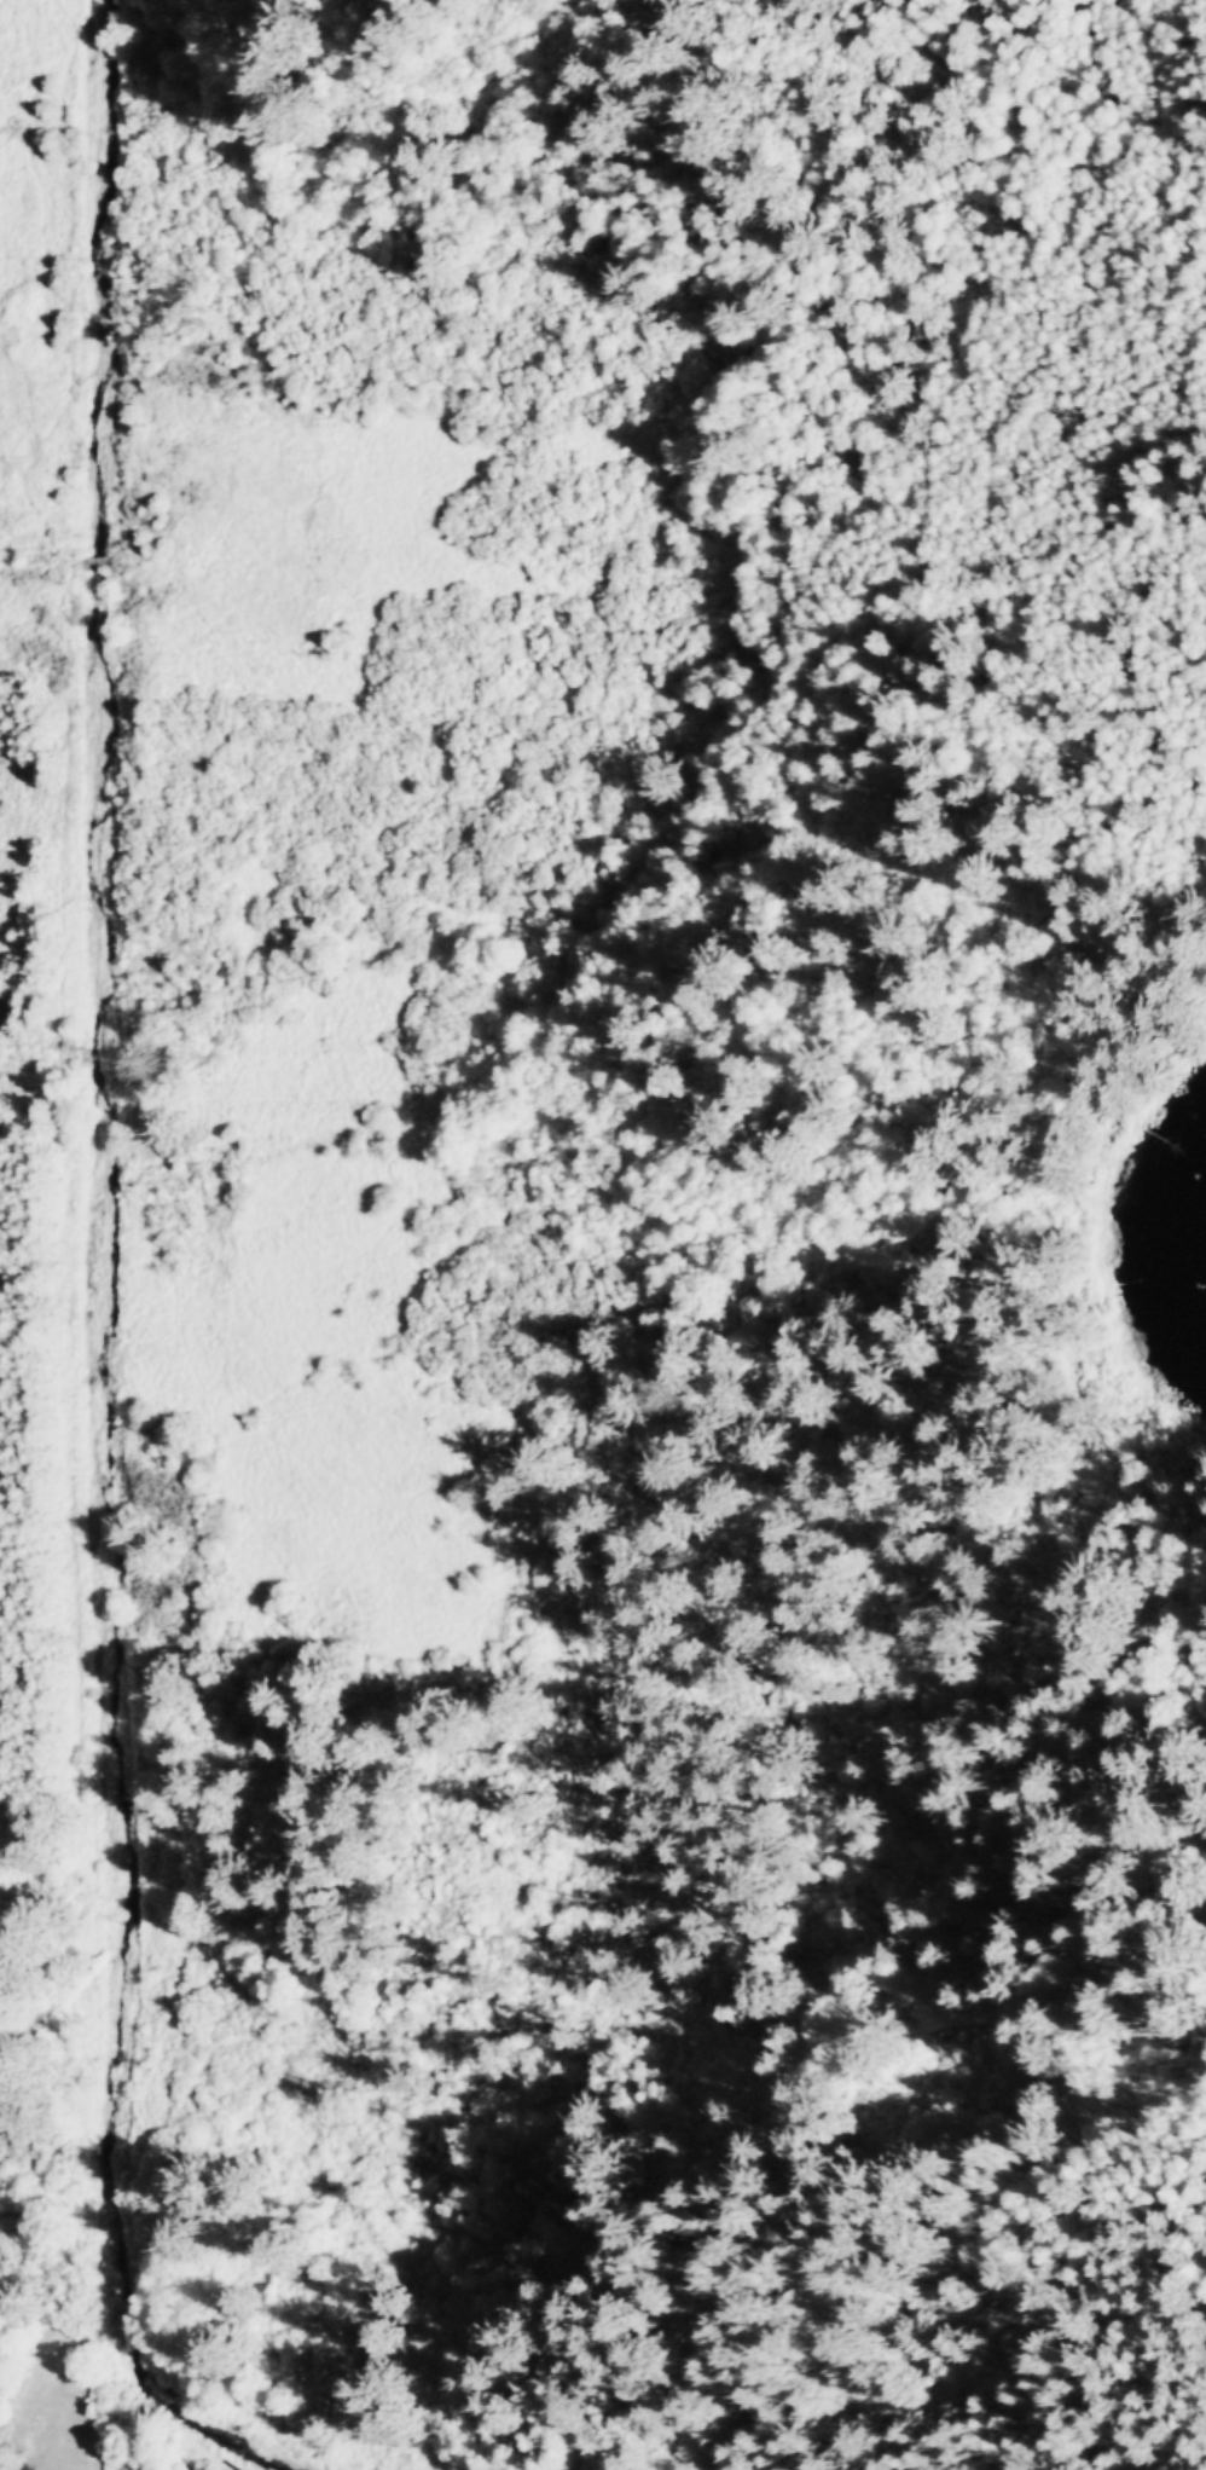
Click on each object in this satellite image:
river: (102, 1279)
building: (71, 2458)

